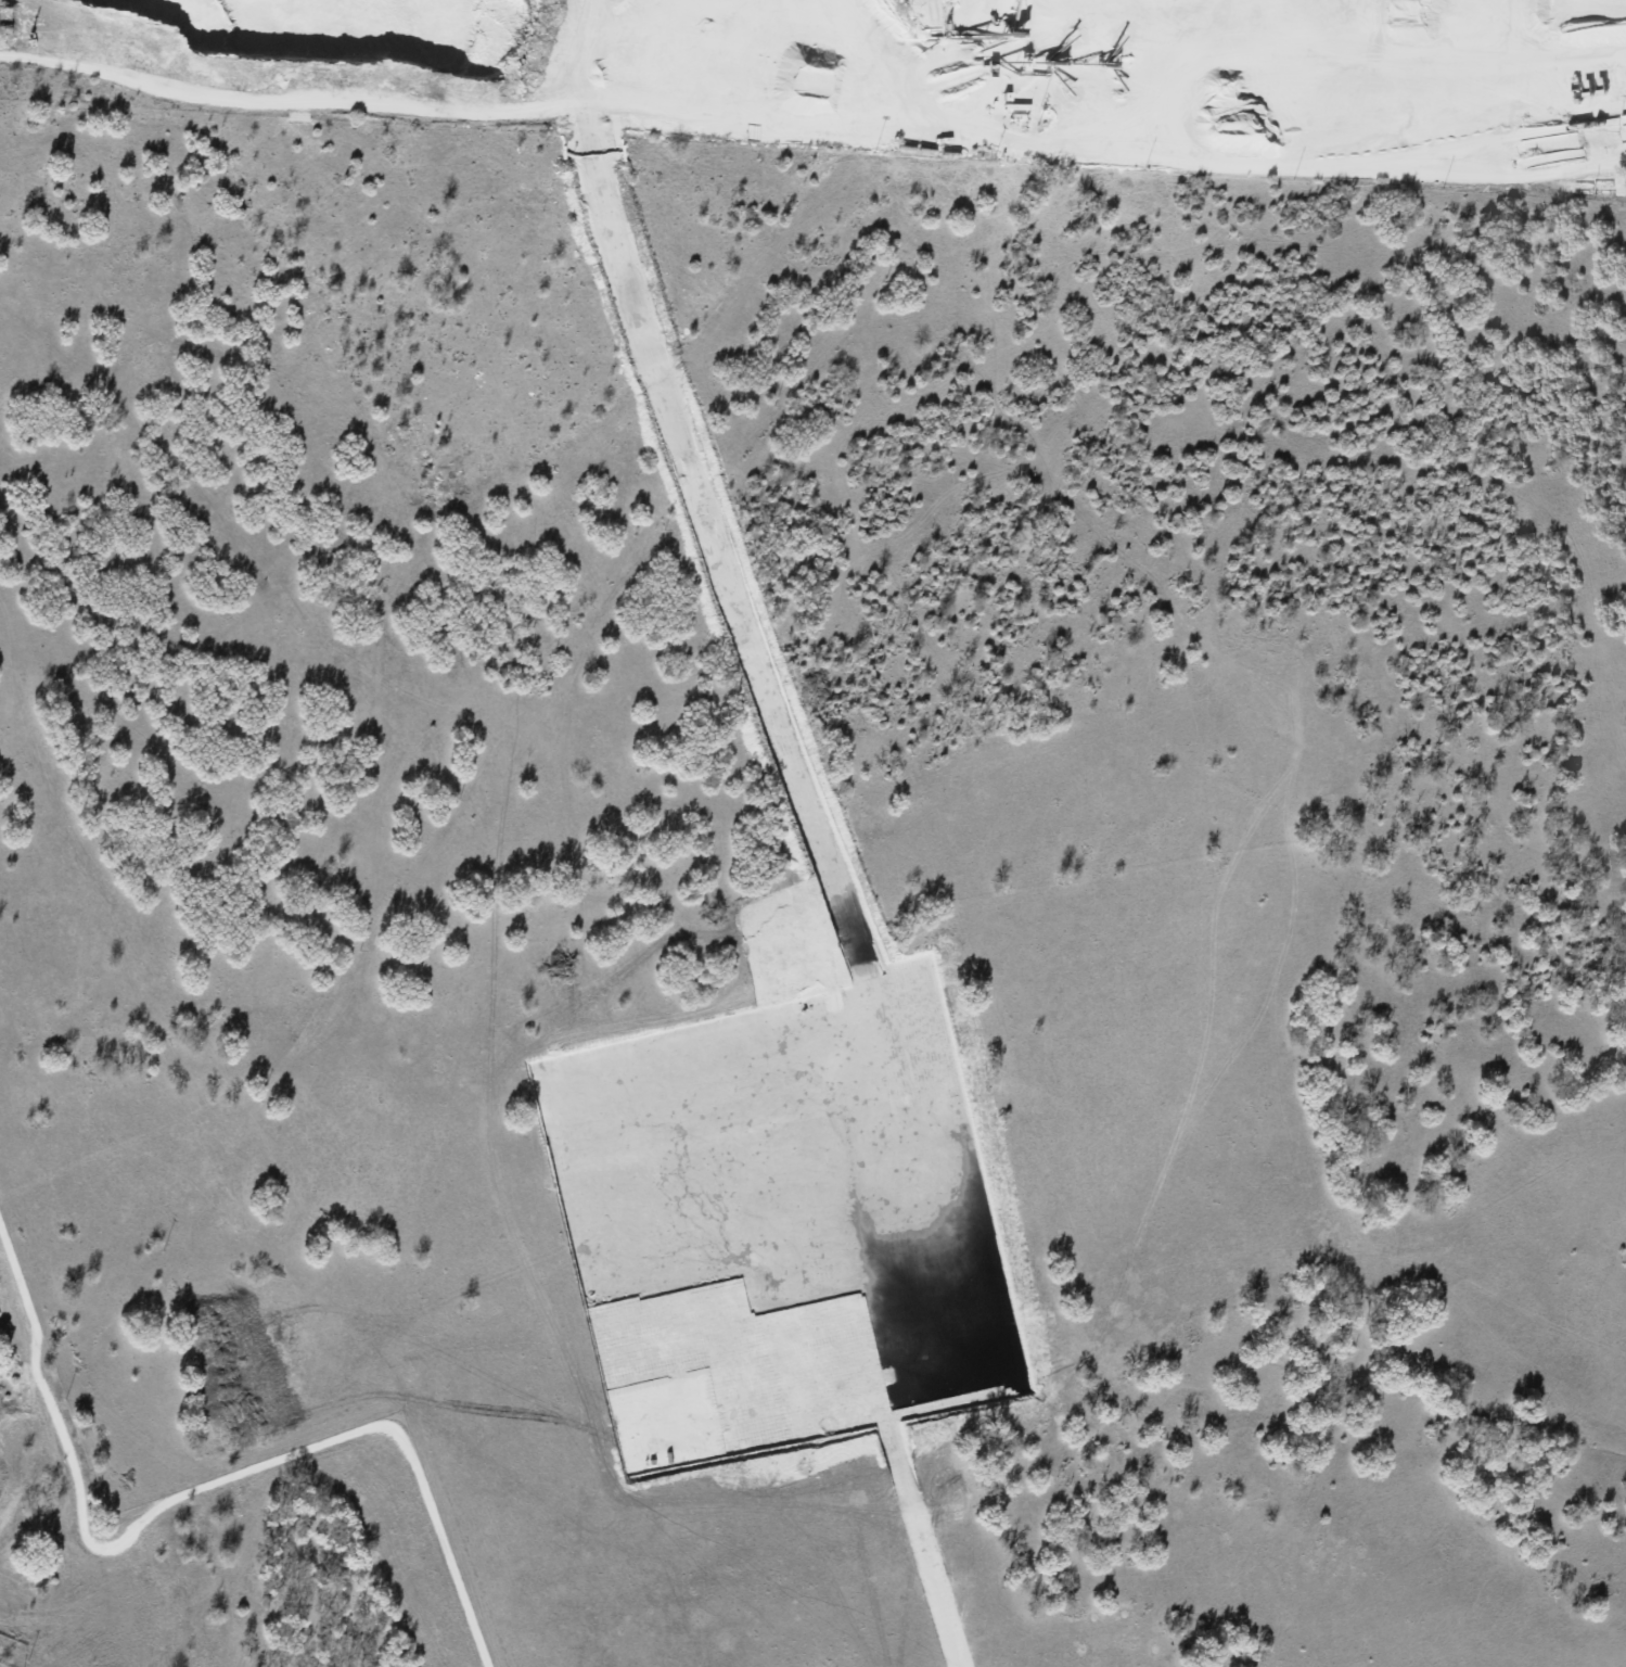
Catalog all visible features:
quarry: (1035, 68)
road: (925, 1545)

